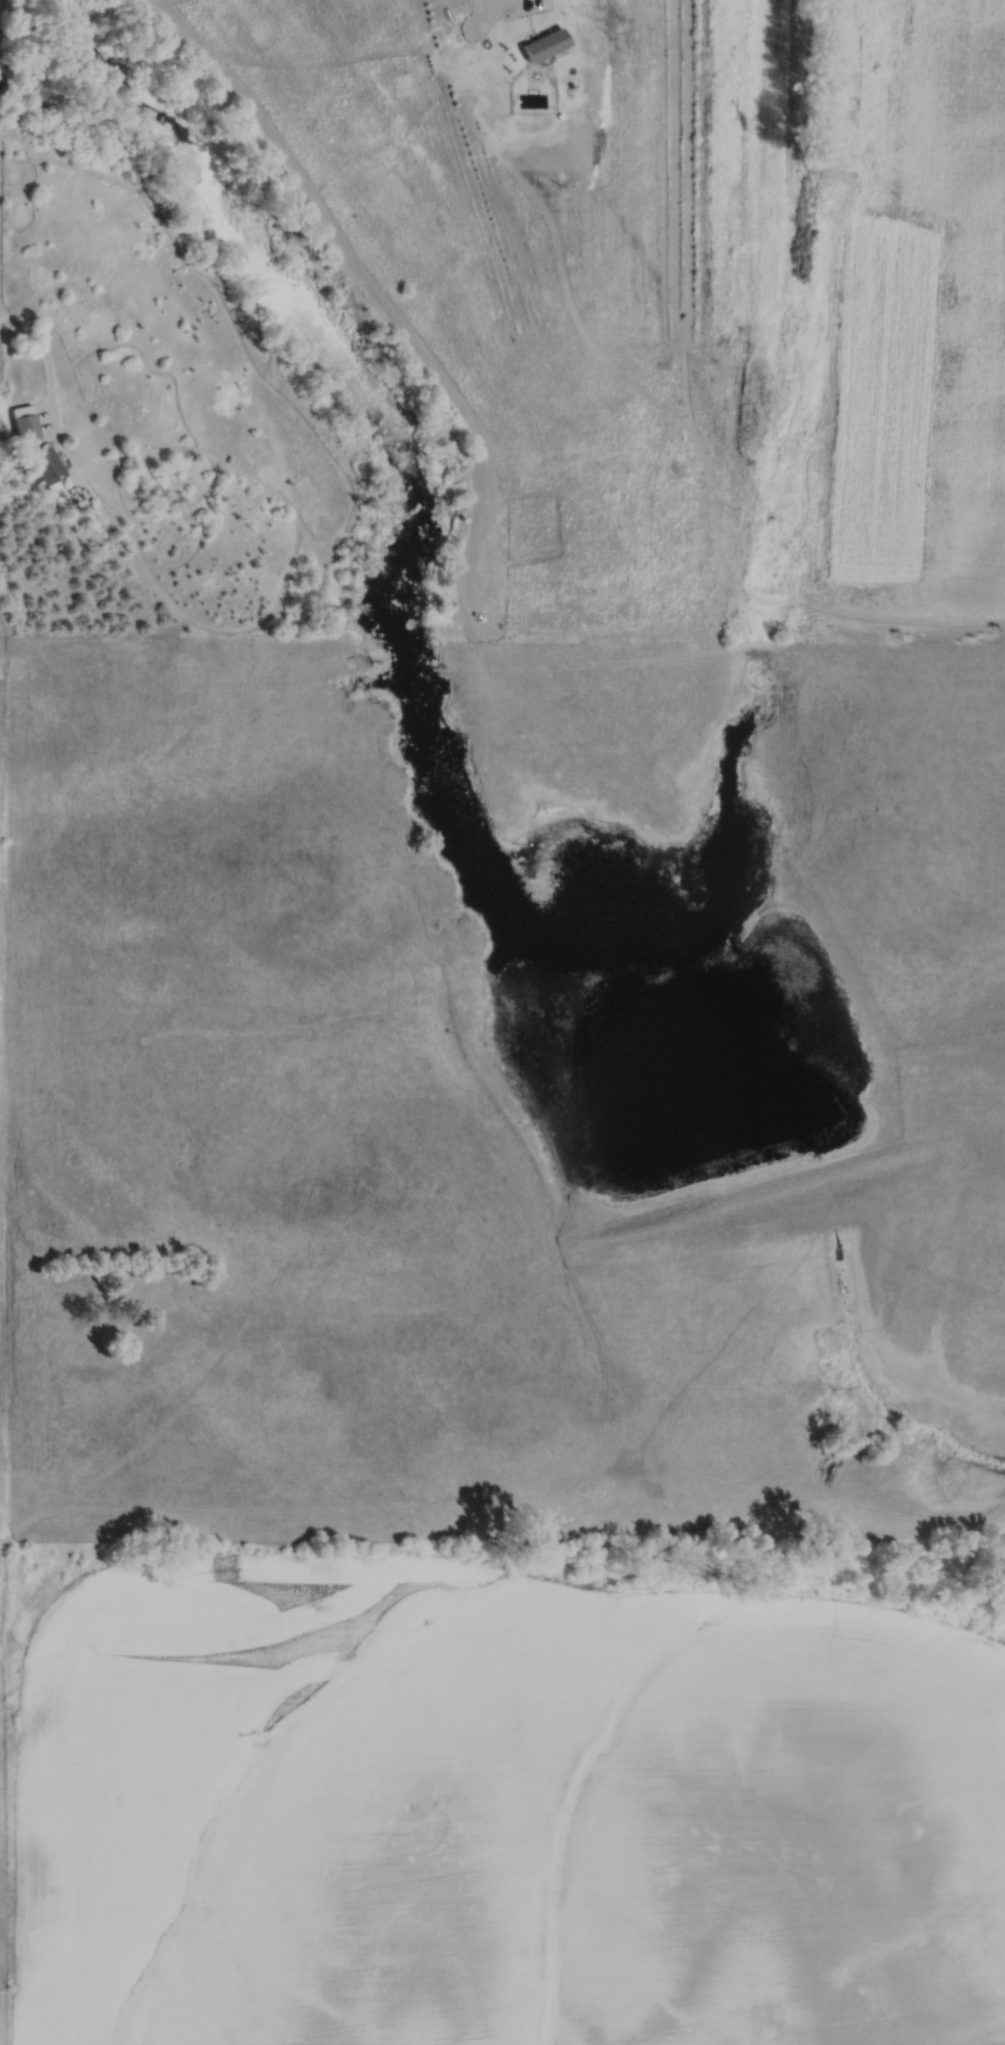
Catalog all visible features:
building: (550, 44)
building: (30, 424)
building: (52, 465)

